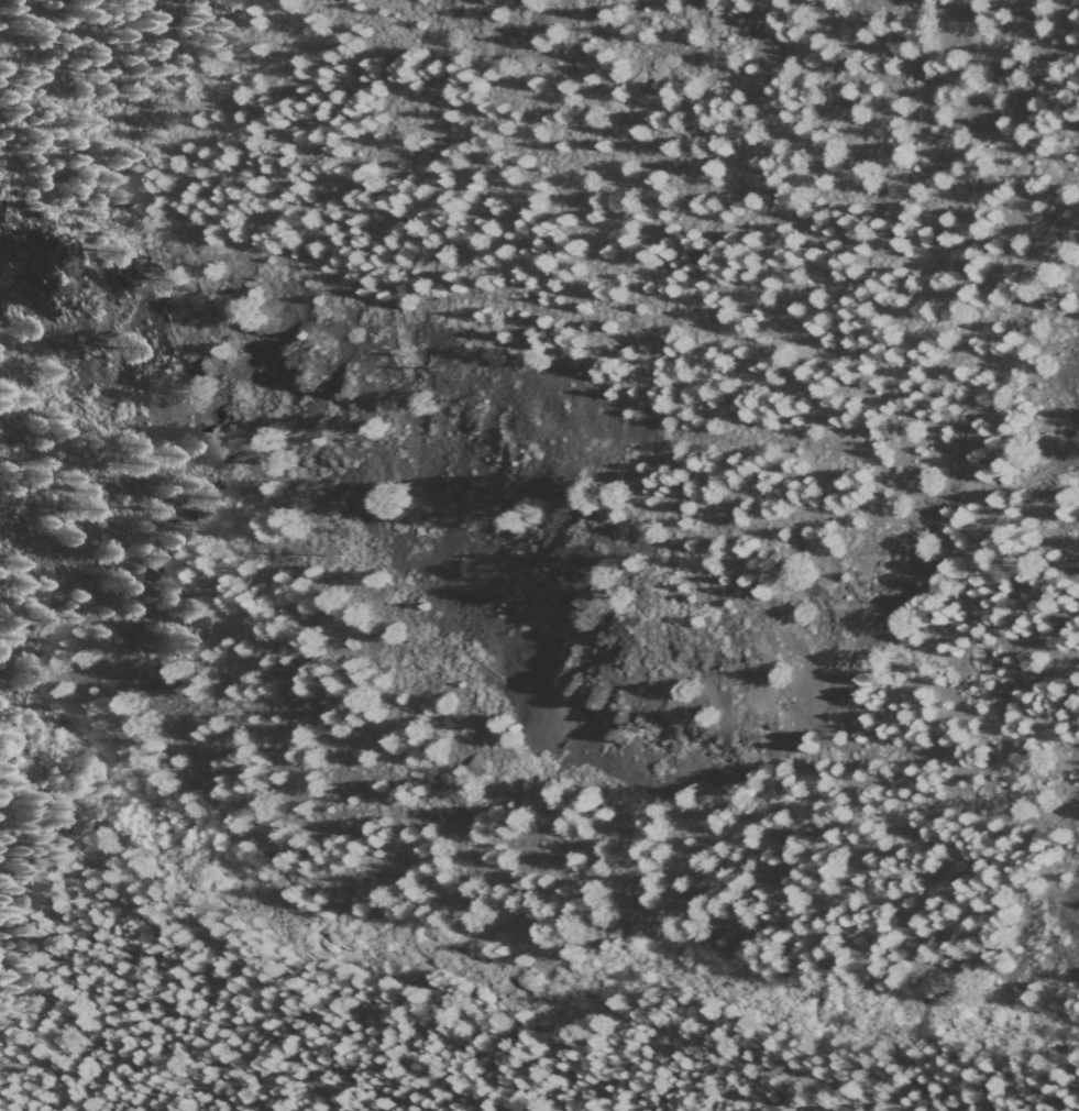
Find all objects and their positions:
road: (514, 887)

